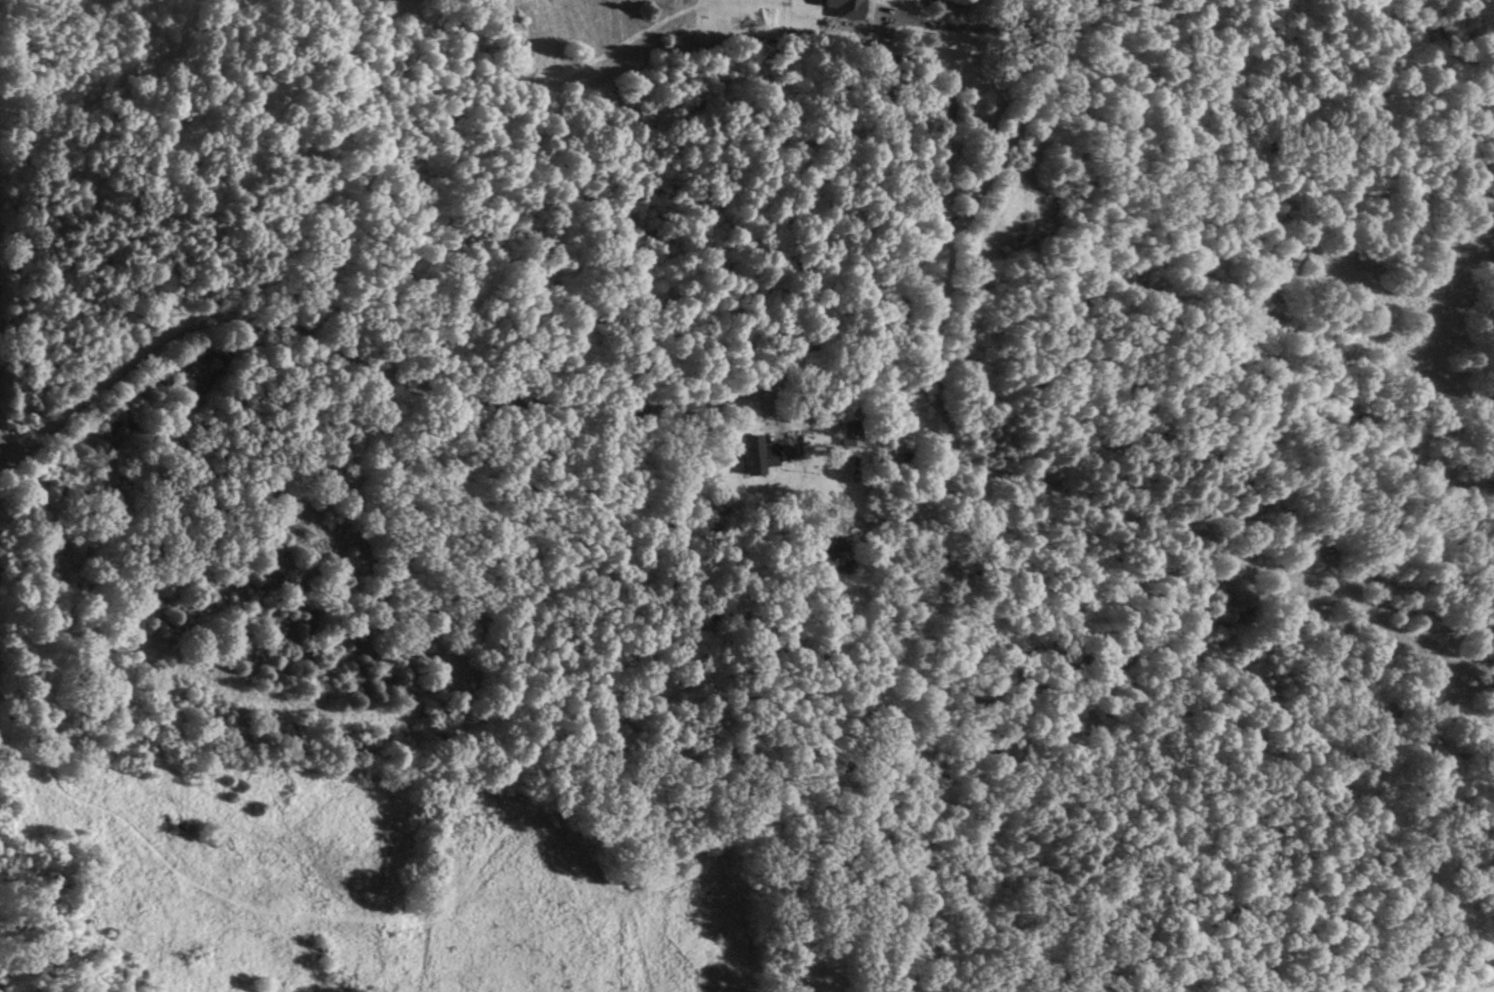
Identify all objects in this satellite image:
road: (935, 327)
road: (605, 409)
building: (851, 431)
building: (895, 453)
building: (755, 455)
road: (845, 509)
building: (827, 550)

